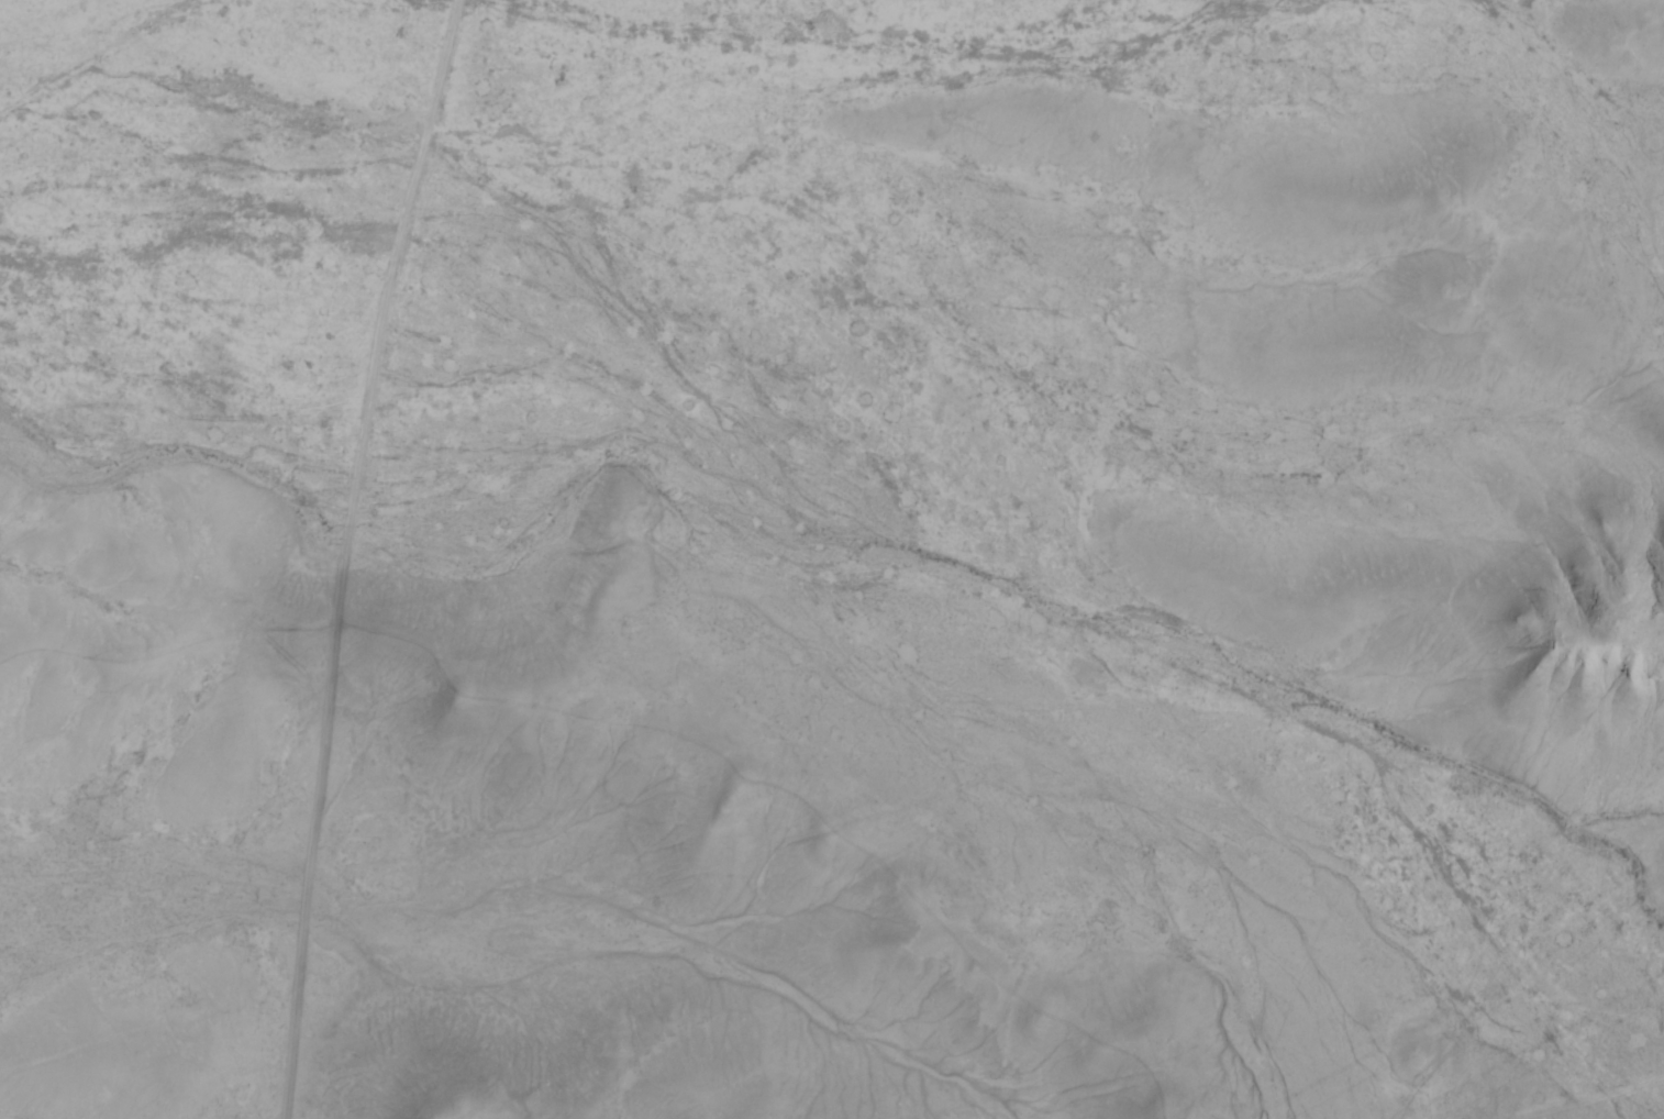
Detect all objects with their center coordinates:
road: (344, 554)

